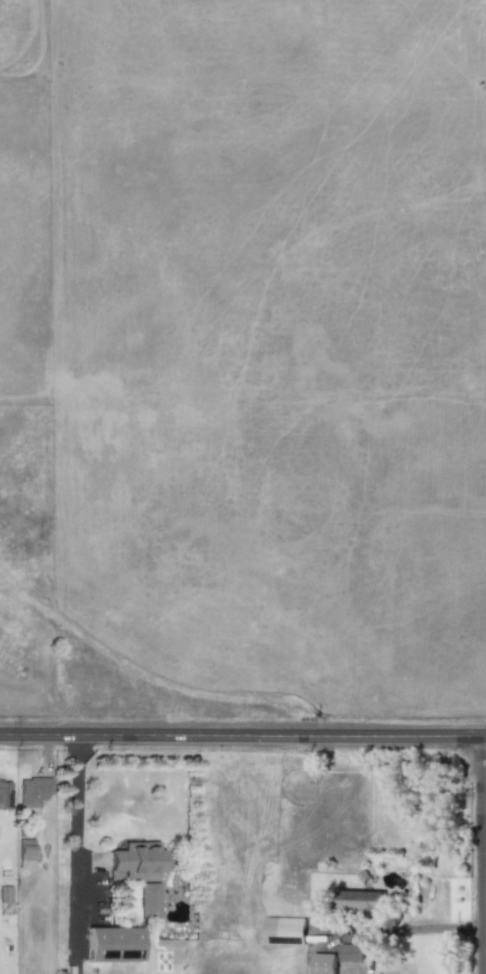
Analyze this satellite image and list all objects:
road: (243, 739)
building: (33, 791)
building: (4, 793)
road: (76, 844)
building: (25, 853)
road: (480, 856)
building: (137, 859)
building: (3, 894)
building: (149, 900)
building: (360, 900)
road: (421, 929)
building: (283, 930)
building: (113, 944)
building: (350, 952)
building: (323, 964)

